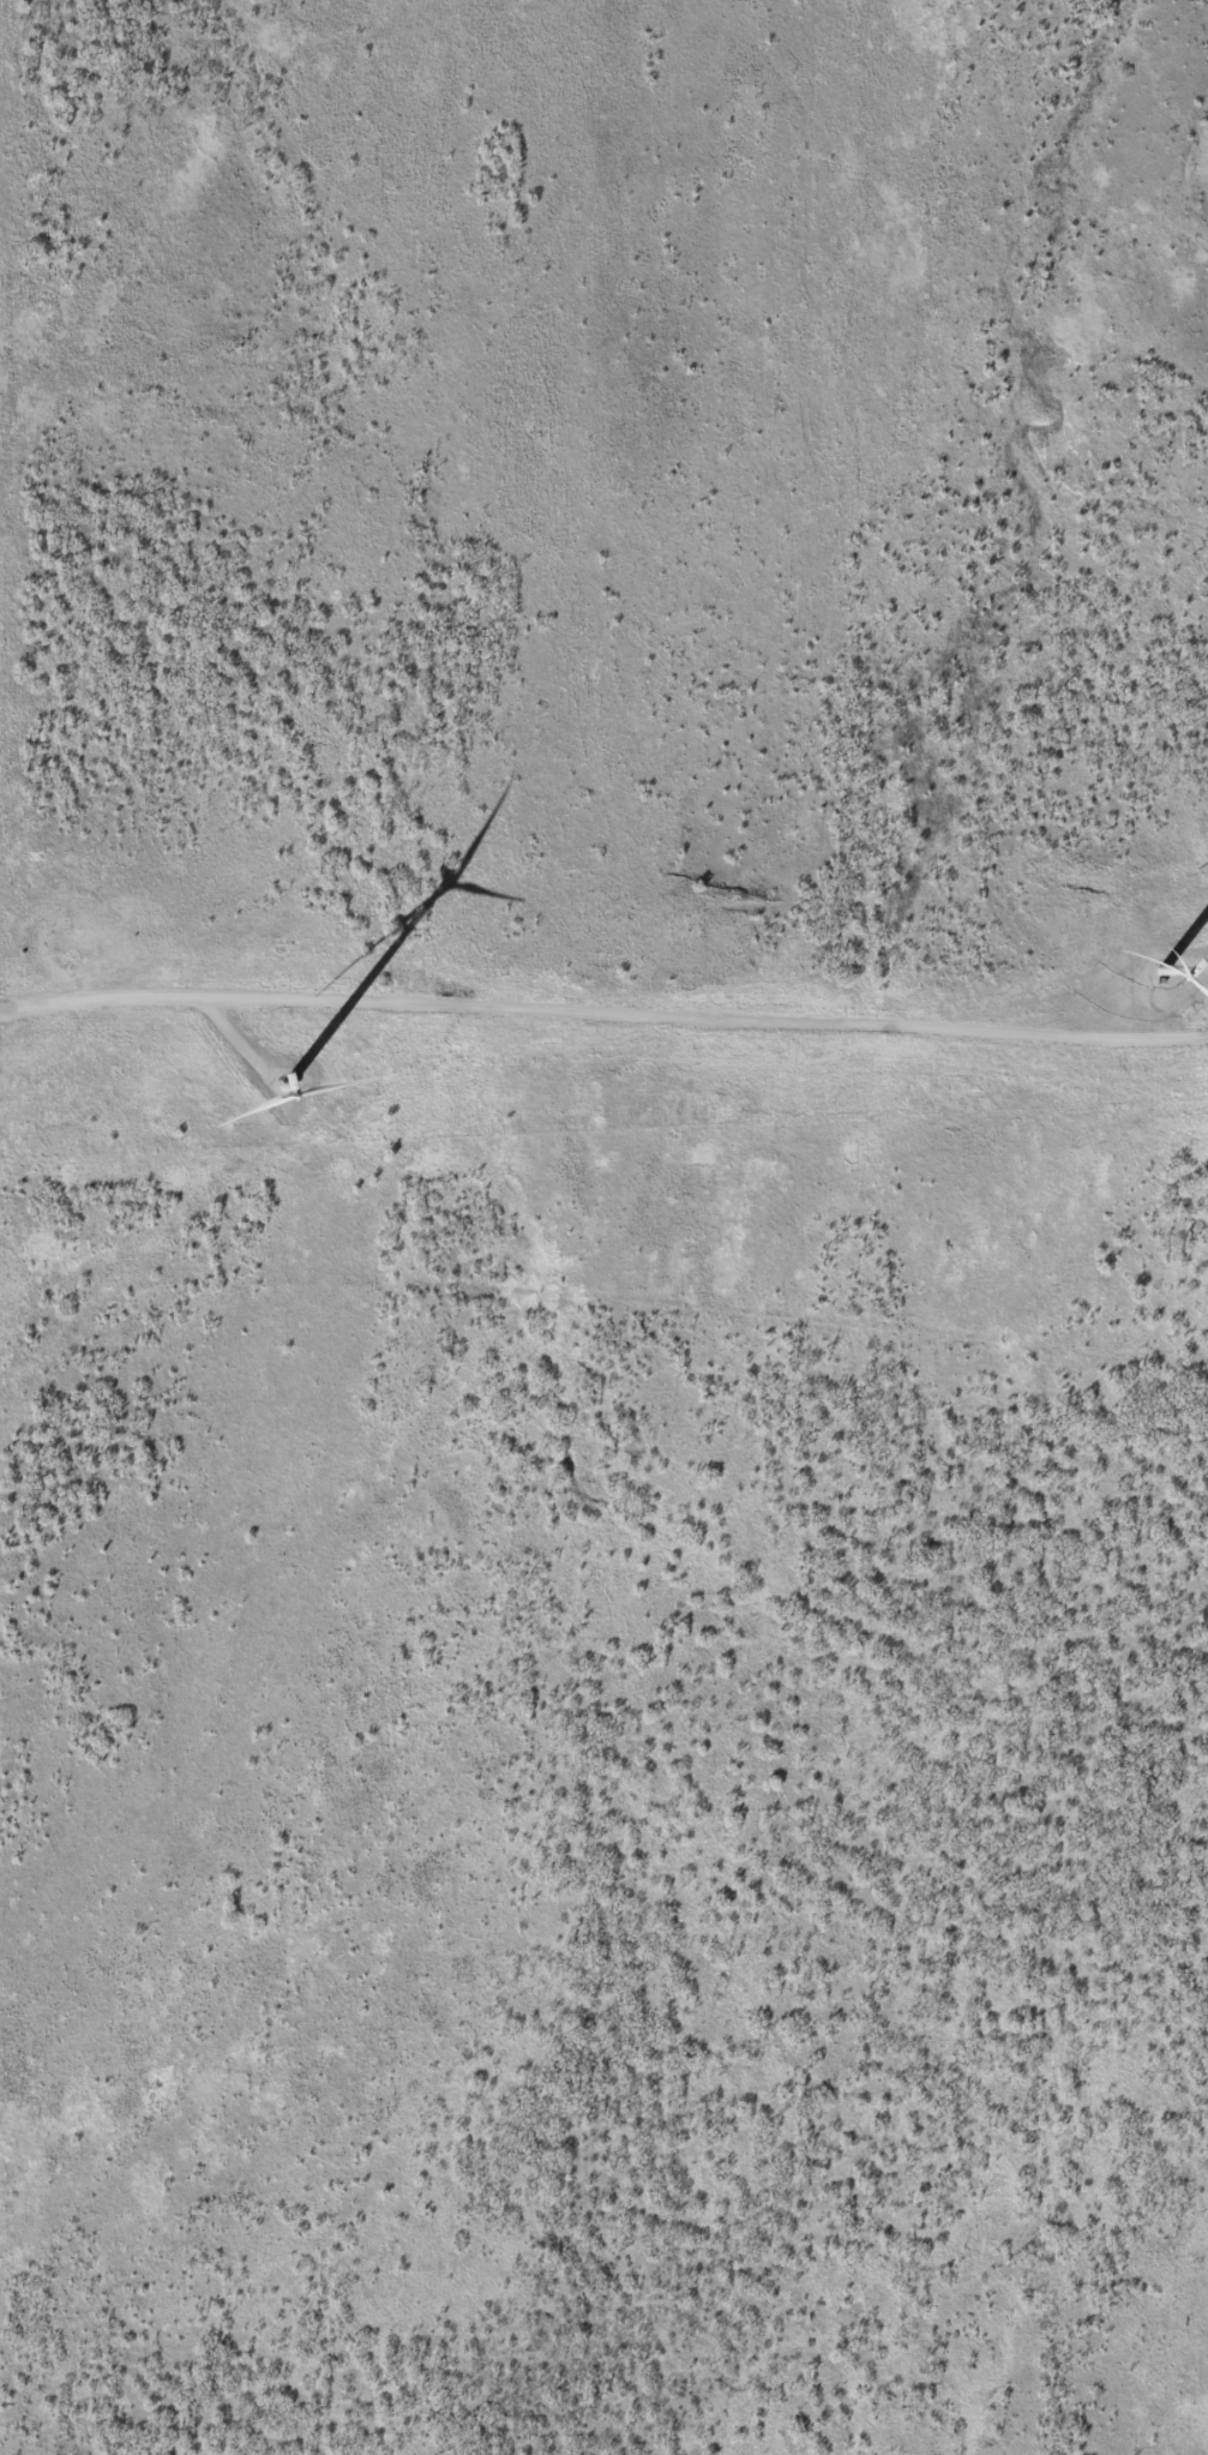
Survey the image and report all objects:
wind turbine: (1161, 977)
wind turbine: (282, 1087)

